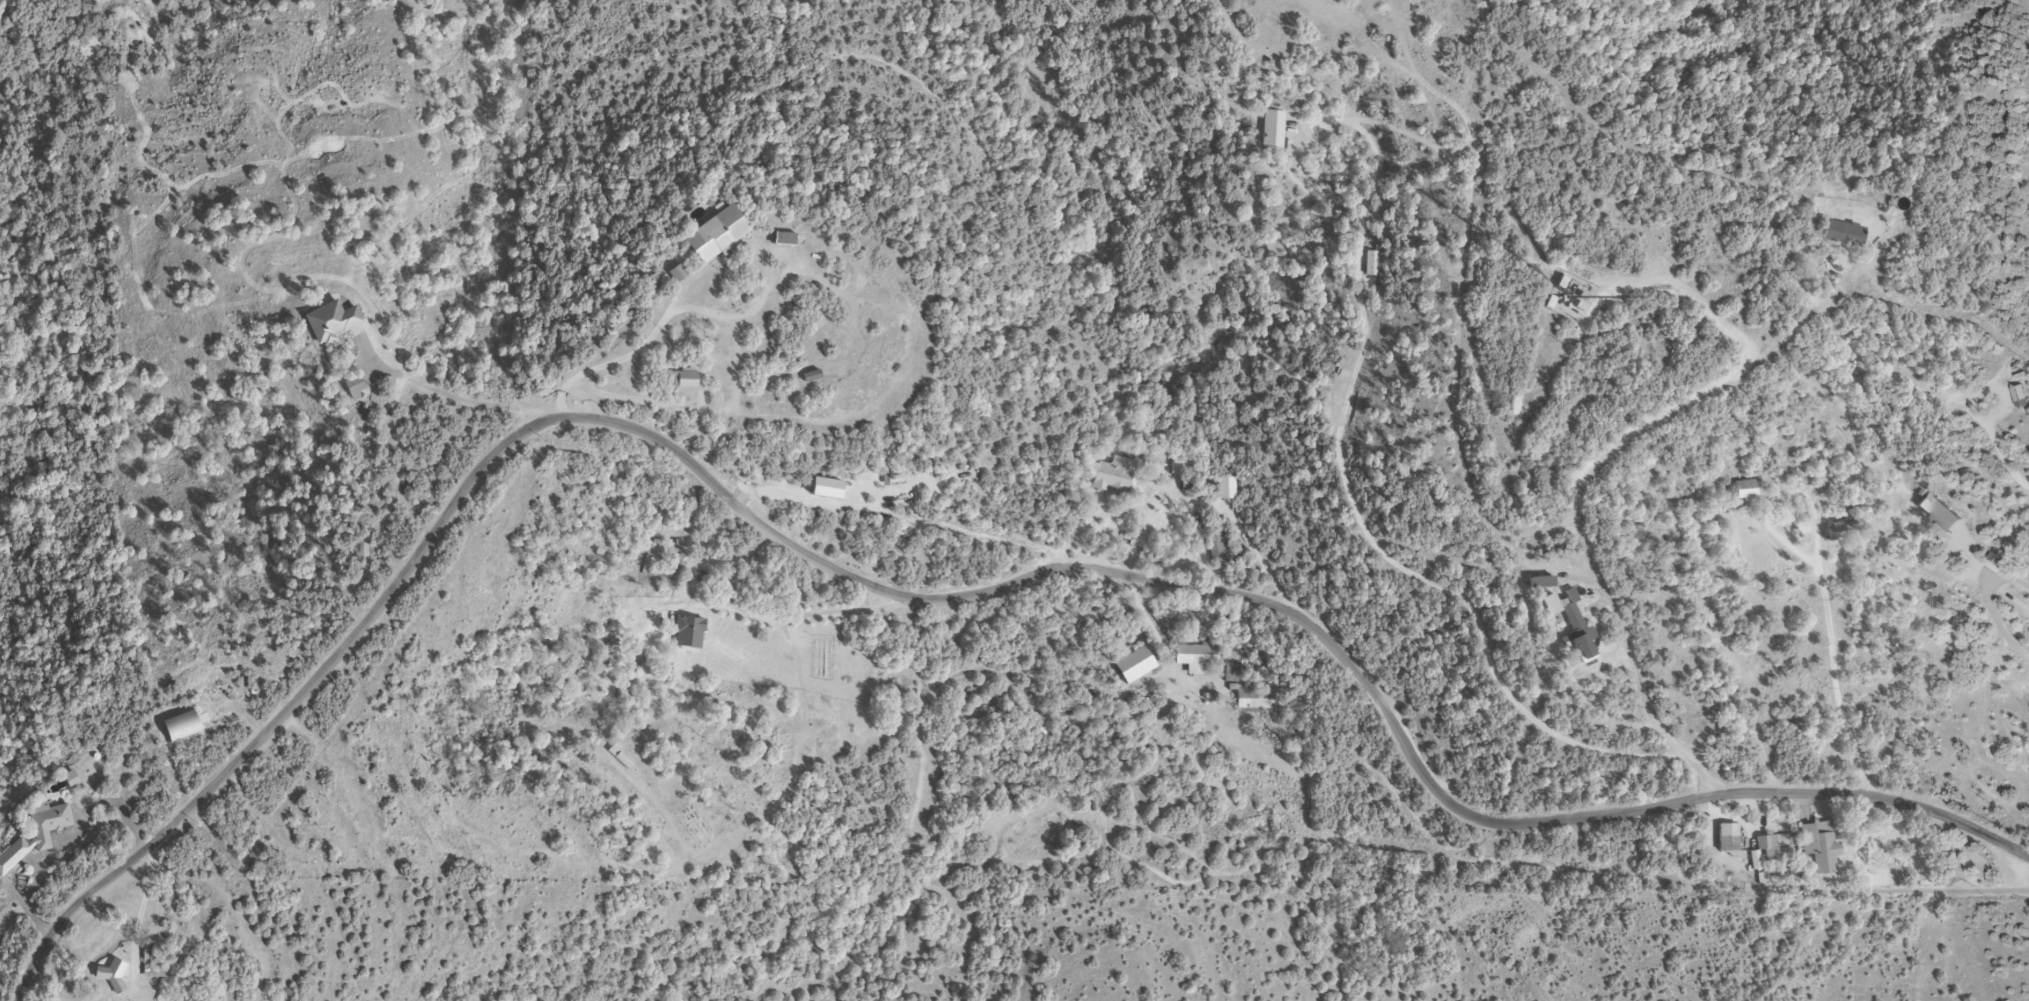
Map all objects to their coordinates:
building: (1274, 130)
building: (1843, 235)
building: (718, 237)
building: (784, 240)
building: (1374, 264)
building: (679, 275)
road: (743, 317)
building: (331, 323)
road: (611, 365)
building: (812, 378)
building: (684, 384)
building: (354, 387)
building: (2021, 398)
road: (693, 411)
building: (1179, 467)
building: (1121, 476)
building: (1781, 483)
road: (1581, 489)
building: (1747, 492)
building: (1836, 533)
building: (1221, 554)
building: (1998, 558)
road: (771, 620)
road: (1312, 621)
building: (1571, 625)
road: (1152, 629)
building: (612, 654)
building: (1198, 655)
road: (1838, 683)
building: (1256, 699)
road: (291, 711)
building: (621, 760)
building: (36, 836)
road: (73, 836)
building: (1728, 839)
building: (1821, 847)
building: (1765, 852)
building: (153, 965)
building: (113, 976)

